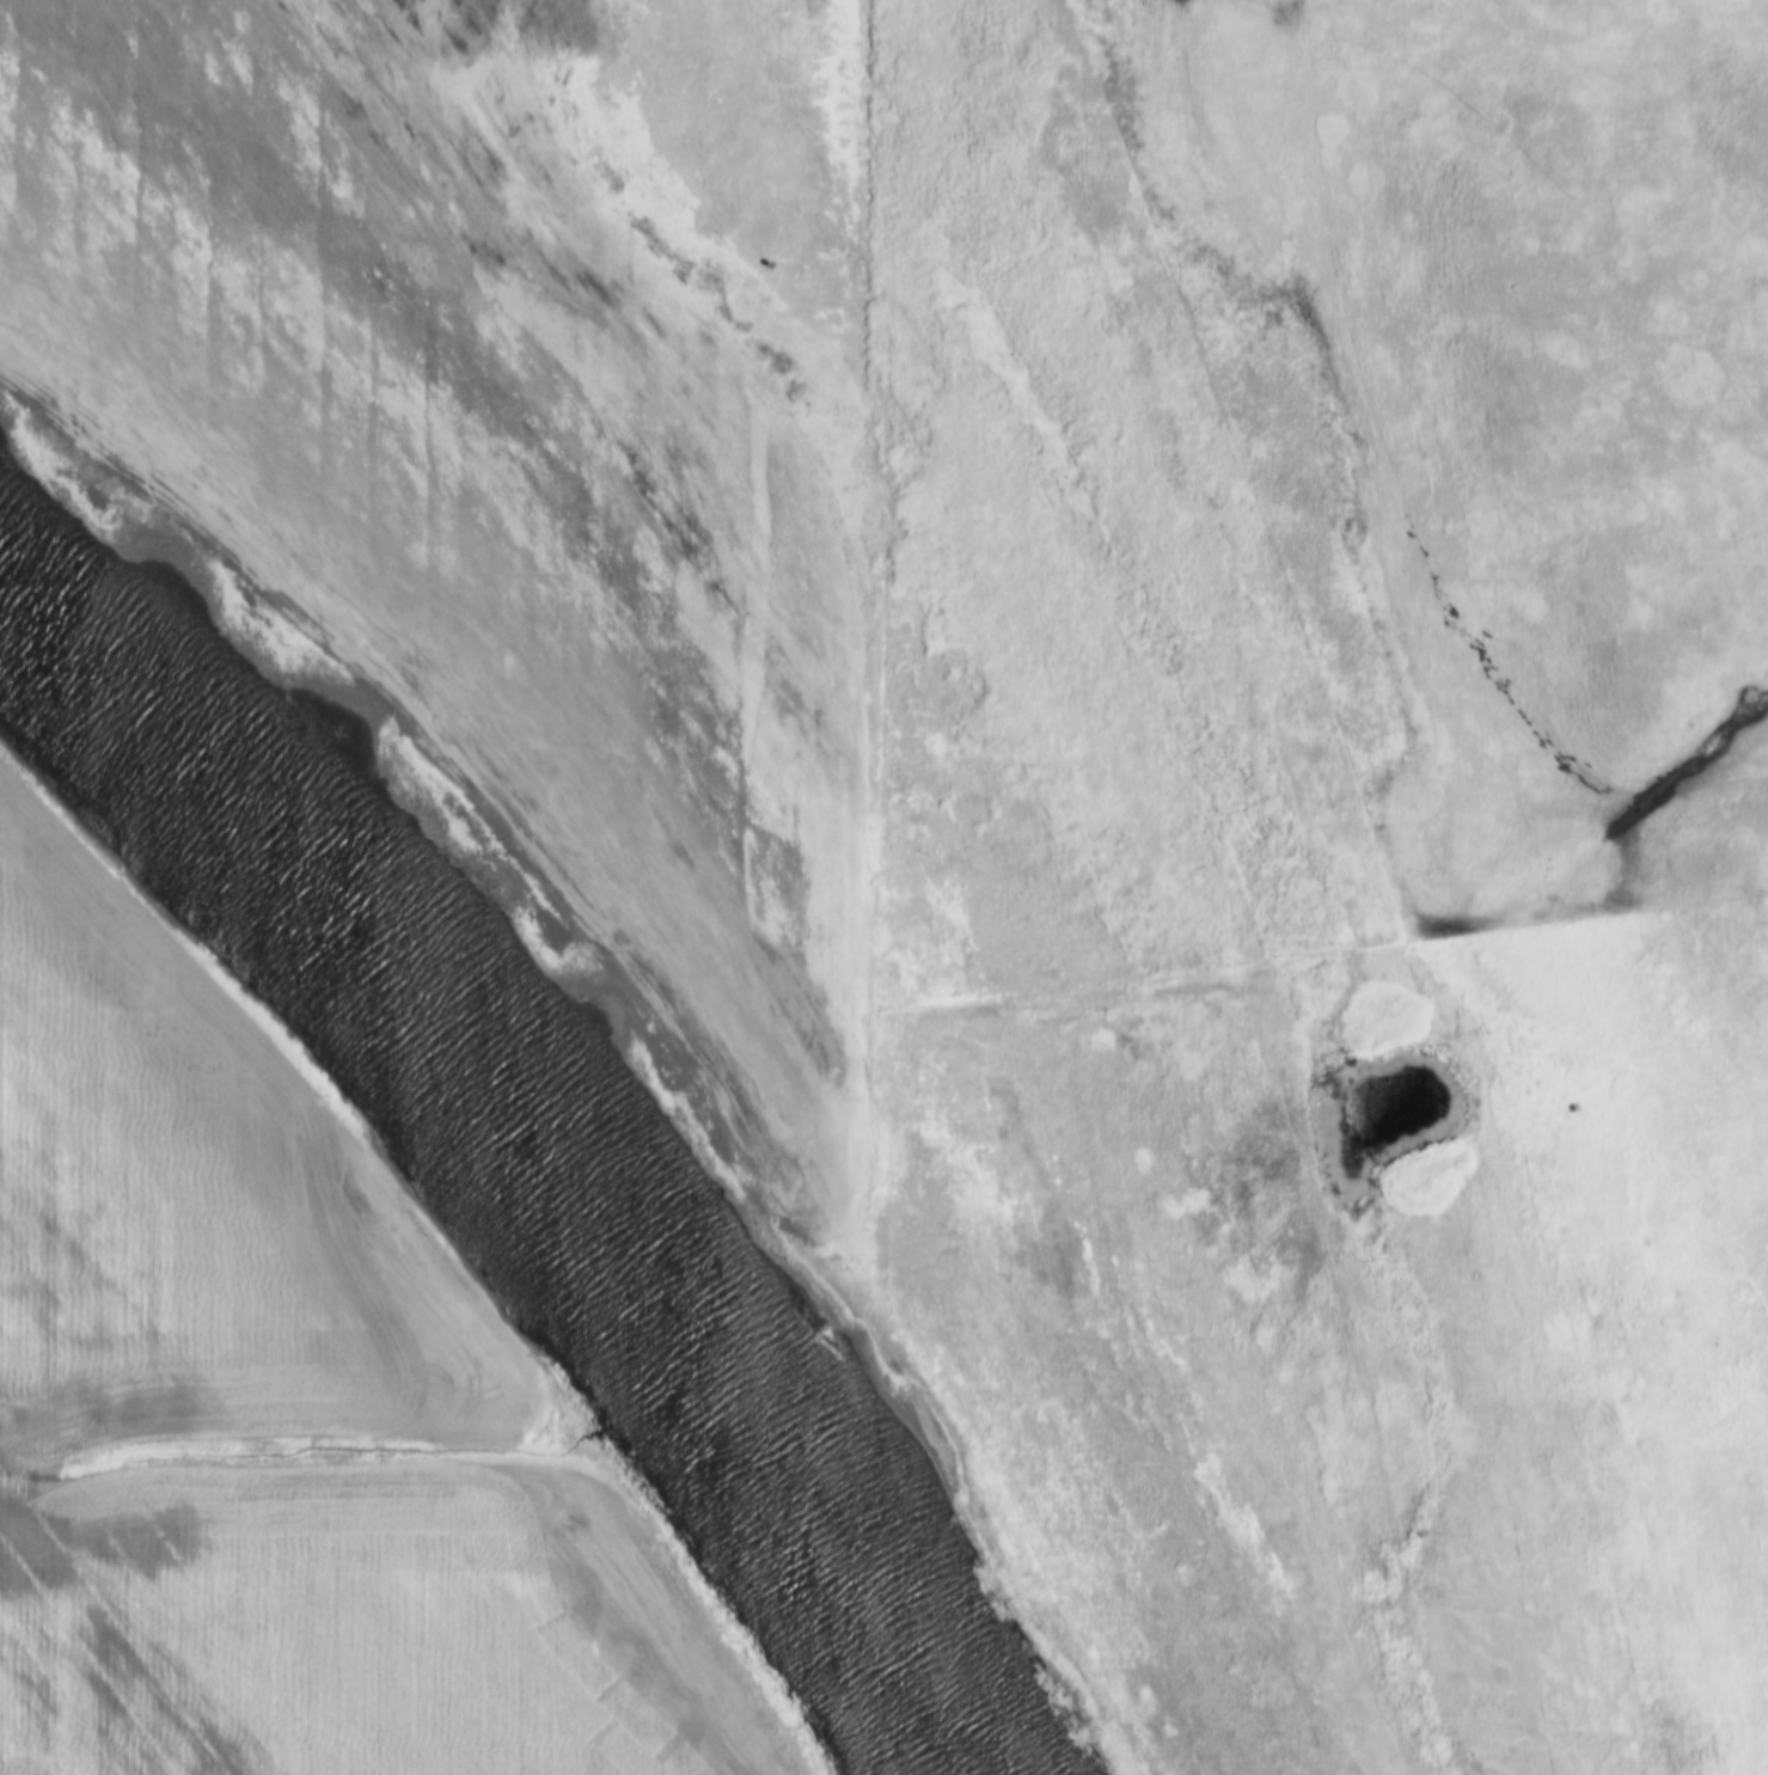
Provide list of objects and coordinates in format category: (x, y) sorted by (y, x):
river: (534, 1141)

